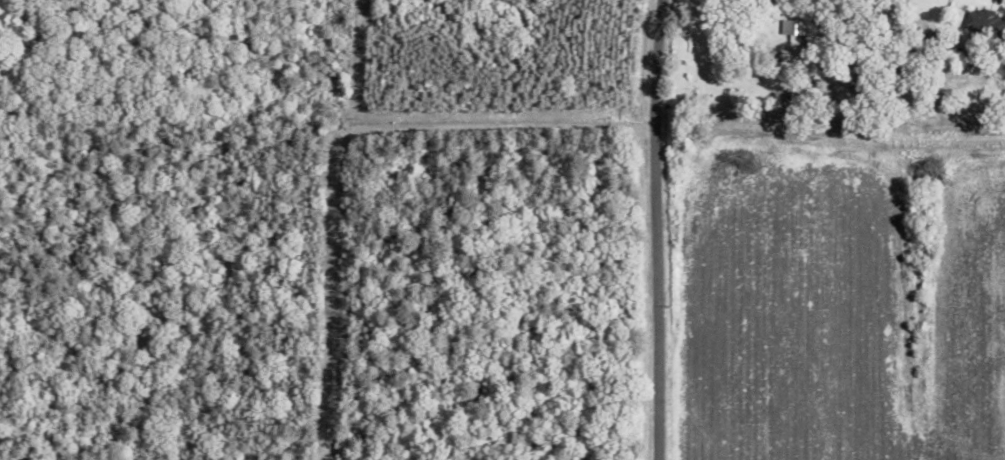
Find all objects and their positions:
road: (995, 3)
building: (794, 27)
road: (656, 230)

